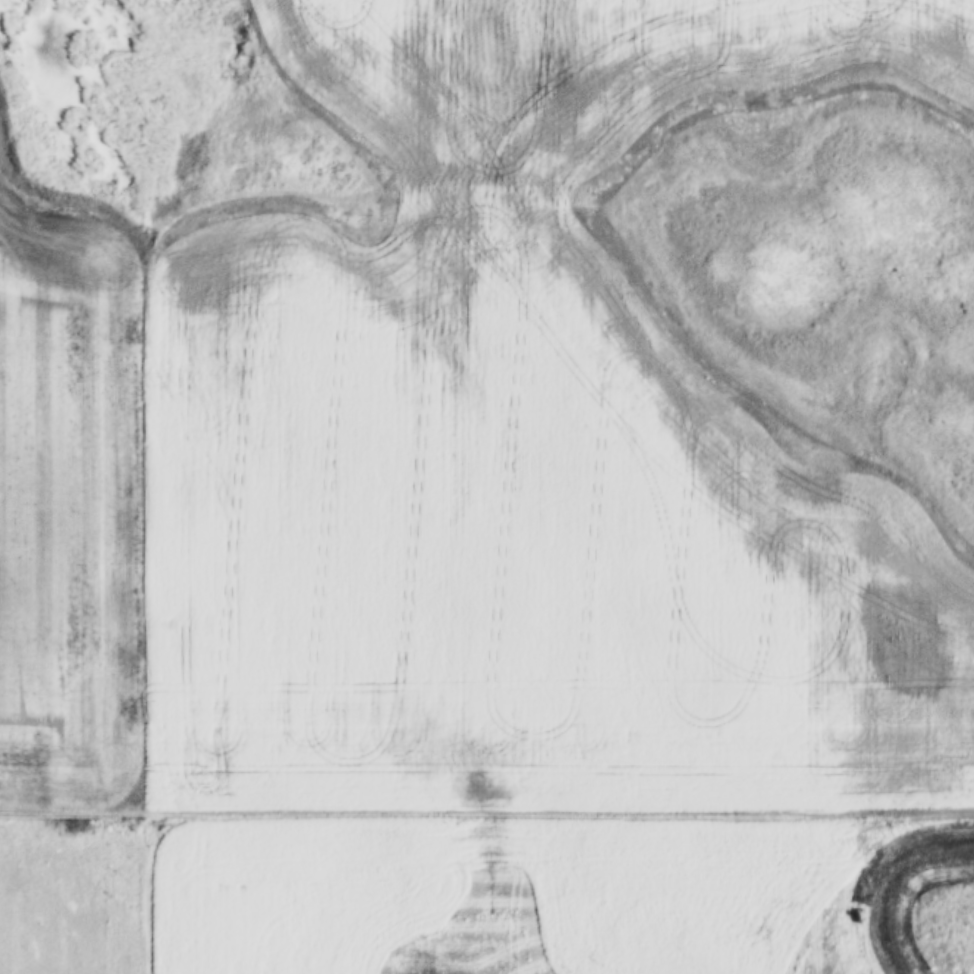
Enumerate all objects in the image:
road: (158, 597)
road: (487, 814)

